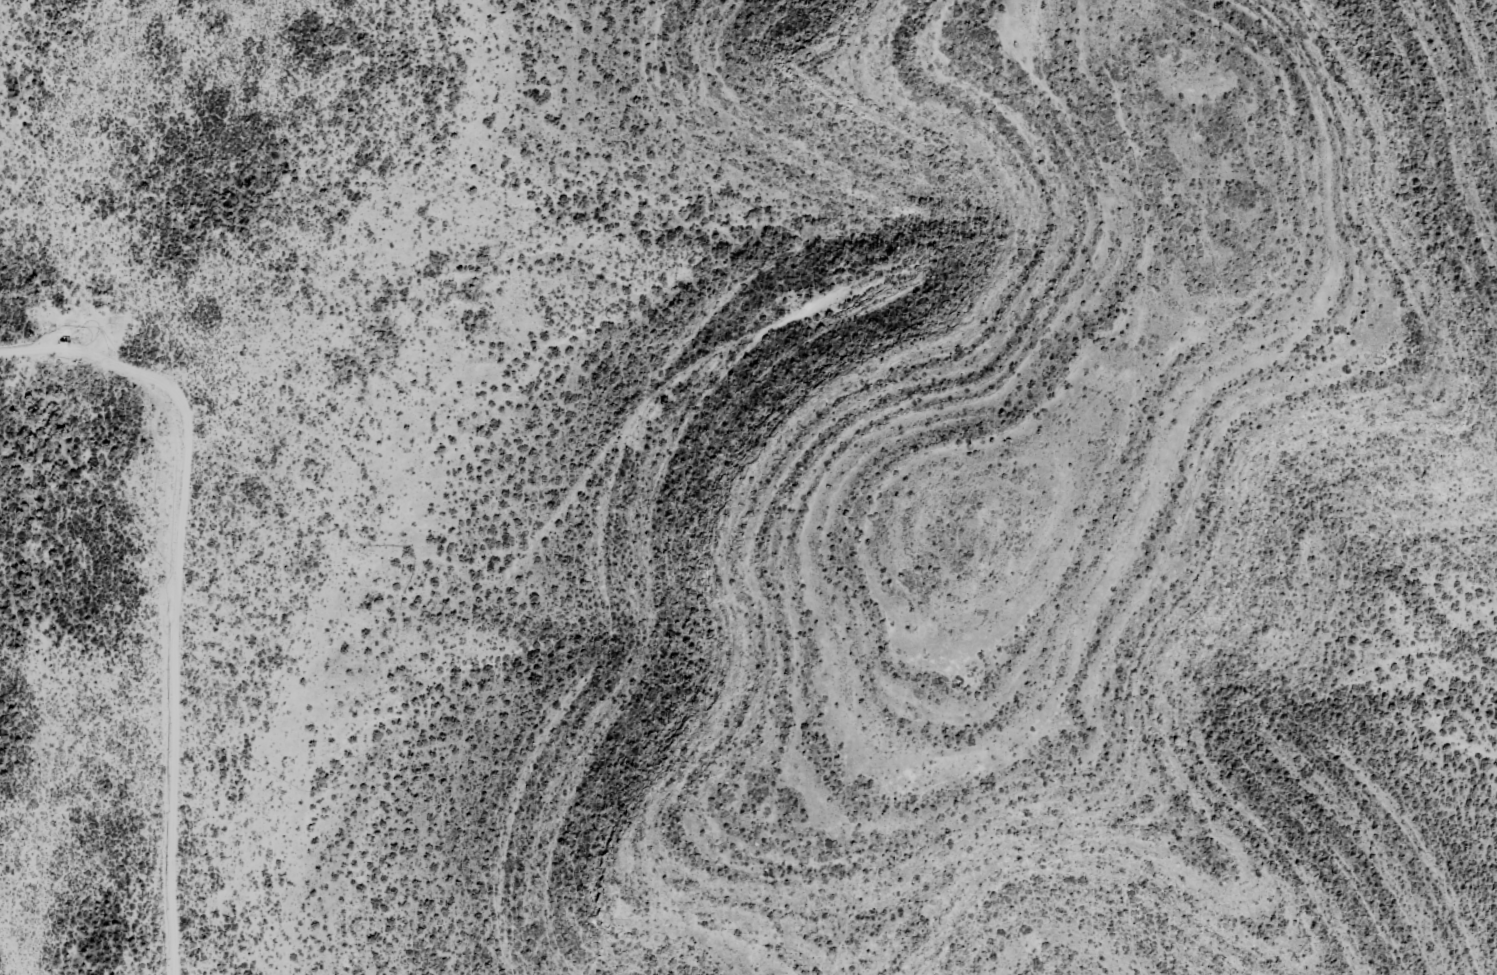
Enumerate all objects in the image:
road: (198, 585)

